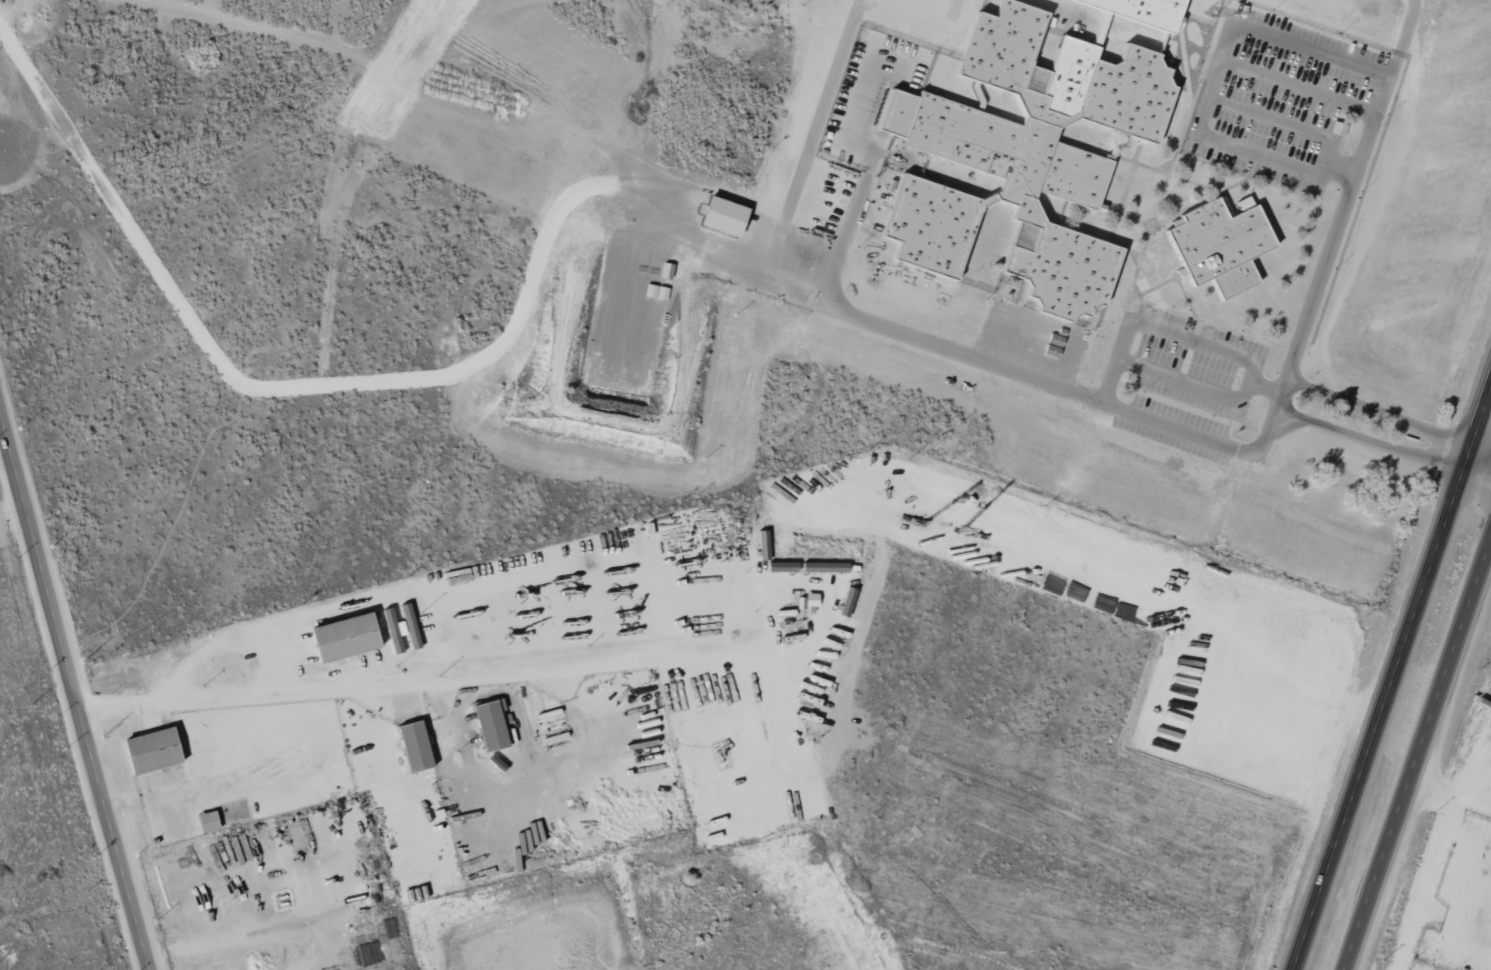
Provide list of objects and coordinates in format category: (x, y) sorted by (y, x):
building: (1145, 10)
parking lot: (1271, 118)
building: (1339, 128)
road: (1184, 152)
building: (1014, 157)
road: (1220, 178)
road: (1212, 189)
road: (1123, 192)
building: (1245, 202)
road: (1152, 217)
road: (1130, 218)
building: (1215, 244)
road: (1173, 272)
road: (1154, 288)
road: (1196, 320)
road: (1299, 338)
parking lot: (1184, 369)
road: (375, 380)
road: (1095, 400)
road: (1483, 446)
road: (14, 516)
building: (765, 550)
building: (783, 566)
building: (808, 600)
building: (347, 636)
road: (1393, 683)
road: (402, 685)
road: (75, 689)
building: (493, 724)
building: (417, 745)
road: (1415, 748)
building: (154, 749)
road: (1448, 792)
building: (209, 820)
road: (317, 925)

